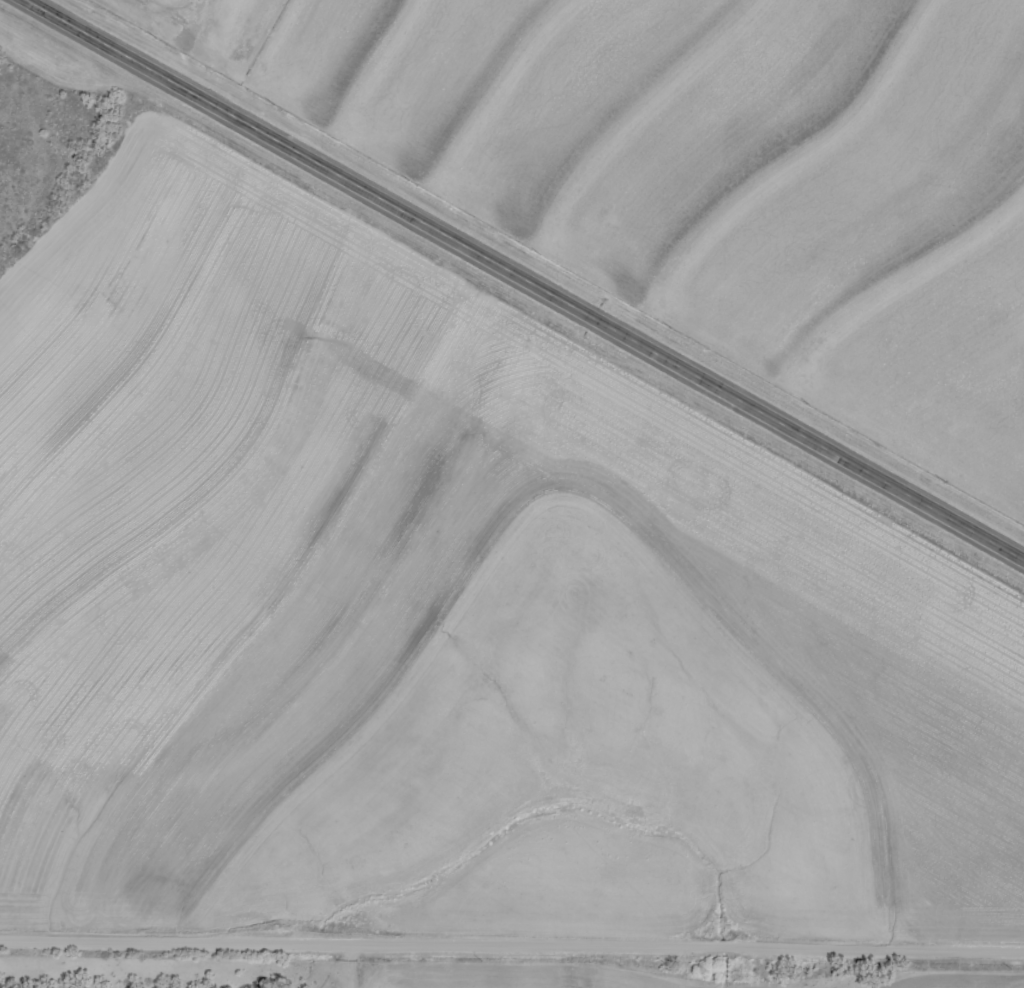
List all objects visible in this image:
road: (528, 277)
road: (512, 944)
road: (374, 966)

